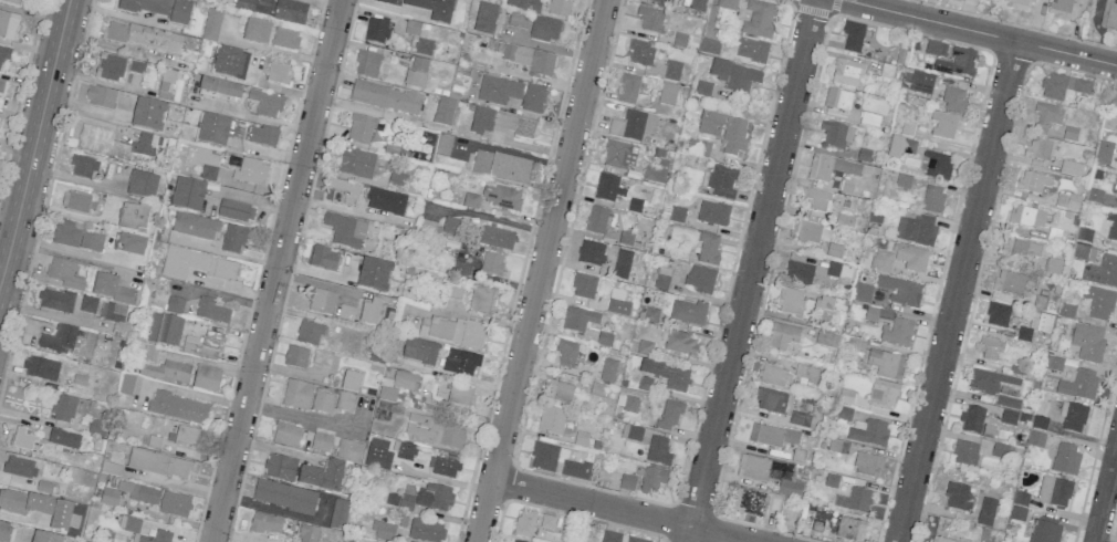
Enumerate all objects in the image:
building: (990, 1)
building: (13, 2)
building: (388, 2)
building: (659, 2)
building: (524, 4)
building: (727, 4)
building: (698, 6)
building: (557, 8)
building: (159, 9)
building: (274, 9)
building: (434, 9)
building: (1061, 9)
building: (1110, 18)
building: (484, 19)
building: (759, 19)
building: (650, 20)
building: (8, 25)
building: (211, 25)
building: (544, 29)
building: (376, 30)
building: (255, 31)
road: (979, 32)
building: (853, 37)
building: (142, 38)
building: (285, 38)
building: (424, 46)
building: (709, 46)
building: (936, 49)
building: (752, 51)
building: (640, 53)
building: (4, 54)
building: (531, 60)
building: (229, 63)
building: (958, 63)
building: (367, 64)
building: (136, 66)
building: (109, 67)
building: (672, 70)
building: (416, 72)
building: (276, 73)
building: (846, 73)
building: (734, 76)
building: (921, 82)
building: (1, 86)
building: (1063, 86)
building: (628, 88)
building: (703, 88)
building: (220, 90)
building: (498, 90)
building: (667, 94)
building: (101, 96)
building: (385, 97)
building: (533, 98)
building: (838, 100)
building: (954, 100)
building: (267, 104)
building: (443, 111)
building: (148, 115)
road: (254, 116)
building: (1047, 116)
road: (40, 118)
building: (482, 121)
building: (944, 125)
building: (518, 126)
building: (633, 126)
building: (361, 128)
building: (212, 131)
building: (724, 131)
building: (837, 135)
building: (261, 136)
building: (122, 144)
building: (900, 147)
building: (698, 148)
building: (1038, 149)
building: (1104, 153)
building: (620, 155)
building: (356, 164)
building: (937, 165)
building: (83, 166)
building: (501, 167)
building: (831, 168)
building: (1071, 168)
building: (251, 171)
building: (208, 173)
building: (656, 173)
building: (721, 180)
building: (902, 180)
building: (397, 181)
building: (1032, 181)
building: (143, 185)
building: (607, 188)
building: (188, 195)
building: (501, 197)
building: (816, 199)
building: (932, 199)
building: (1067, 201)
building: (76, 202)
building: (385, 202)
building: (1116, 204)
building: (236, 211)
road: (73, 212)
building: (713, 213)
building: (677, 215)
building: (1027, 217)
building: (134, 218)
building: (596, 220)
building: (452, 226)
building: (195, 227)
building: (644, 227)
building: (1111, 227)
building: (916, 229)
building: (345, 230)
building: (66, 234)
building: (808, 234)
building: (1084, 236)
building: (495, 238)
building: (232, 239)
building: (91, 241)
building: (132, 244)
building: (708, 249)
building: (1021, 249)
road: (76, 251)
building: (591, 253)
road: (231, 254)
road: (6, 257)
building: (910, 258)
building: (323, 259)
building: (881, 261)
building: (196, 264)
building: (491, 264)
building: (622, 264)
building: (460, 269)
building: (837, 269)
road: (545, 270)
road: (750, 270)
road: (281, 271)
building: (798, 272)
building: (1103, 272)
building: (64, 273)
building: (374, 274)
building: (662, 279)
building: (701, 279)
building: (1009, 282)
building: (584, 286)
building: (111, 289)
building: (900, 291)
building: (863, 292)
road: (957, 292)
building: (480, 300)
building: (56, 301)
building: (322, 301)
building: (791, 302)
building: (1099, 302)
building: (617, 303)
building: (87, 304)
building: (174, 305)
building: (1066, 310)
building: (211, 311)
building: (112, 312)
building: (346, 312)
building: (369, 312)
building: (688, 312)
building: (650, 314)
building: (871, 314)
building: (998, 314)
building: (578, 320)
building: (1044, 322)
building: (164, 330)
building: (452, 331)
building: (897, 332)
building: (309, 333)
building: (1024, 334)
building: (782, 336)
building: (604, 338)
building: (826, 338)
building: (58, 340)
building: (212, 341)
building: (680, 343)
building: (1087, 343)
building: (195, 346)
building: (990, 347)
building: (644, 348)
building: (419, 352)
building: (149, 353)
building: (566, 353)
building: (295, 356)
building: (460, 362)
building: (886, 364)
building: (1054, 364)
building: (41, 368)
building: (607, 369)
building: (170, 372)
building: (667, 375)
building: (807, 375)
building: (773, 376)
building: (206, 379)
road: (462, 379)
building: (351, 381)
building: (991, 382)
building: (126, 384)
building: (644, 384)
building: (396, 385)
building: (1078, 385)
building: (560, 392)
building: (296, 394)
building: (881, 395)
building: (460, 396)
building: (846, 396)
building: (771, 400)
building: (323, 402)
building: (345, 402)
building: (1009, 402)
building: (629, 404)
building: (178, 407)
building: (63, 408)
building: (845, 413)
building: (669, 416)
building: (1009, 417)
building: (1074, 418)
road: (303, 419)
building: (800, 419)
building: (972, 419)
building: (551, 420)
building: (1038, 423)
building: (97, 428)
building: (432, 431)
building: (631, 432)
building: (869, 434)
building: (286, 435)
building: (186, 436)
building: (772, 436)
building: (63, 438)
building: (1035, 439)
building: (23, 440)
building: (321, 442)
building: (348, 450)
building: (405, 451)
building: (658, 451)
building: (999, 451)
building: (965, 452)
building: (378, 455)
building: (543, 457)
building: (1065, 459)
building: (158, 463)
building: (867, 465)
building: (18, 467)
building: (443, 467)
building: (280, 468)
building: (575, 469)
building: (771, 473)
building: (323, 477)
building: (653, 480)
road: (448, 481)
building: (627, 482)
road: (177, 484)
building: (1054, 491)
building: (145, 494)
road: (1105, 496)
building: (284, 497)
building: (435, 497)
building: (957, 497)
building: (108, 498)
building: (859, 500)
building: (406, 502)
building: (174, 503)
building: (749, 503)
building: (1019, 507)
building: (40, 508)
road: (622, 511)
building: (986, 511)
building: (338, 513)
building: (546, 522)
building: (265, 523)
building: (524, 523)
building: (132, 524)
building: (850, 529)
building: (383, 531)
building: (426, 531)
building: (1045, 532)
building: (309, 533)
building: (158, 536)
building: (45, 538)
building: (620, 538)
building: (940, 540)
building: (513, 541)

